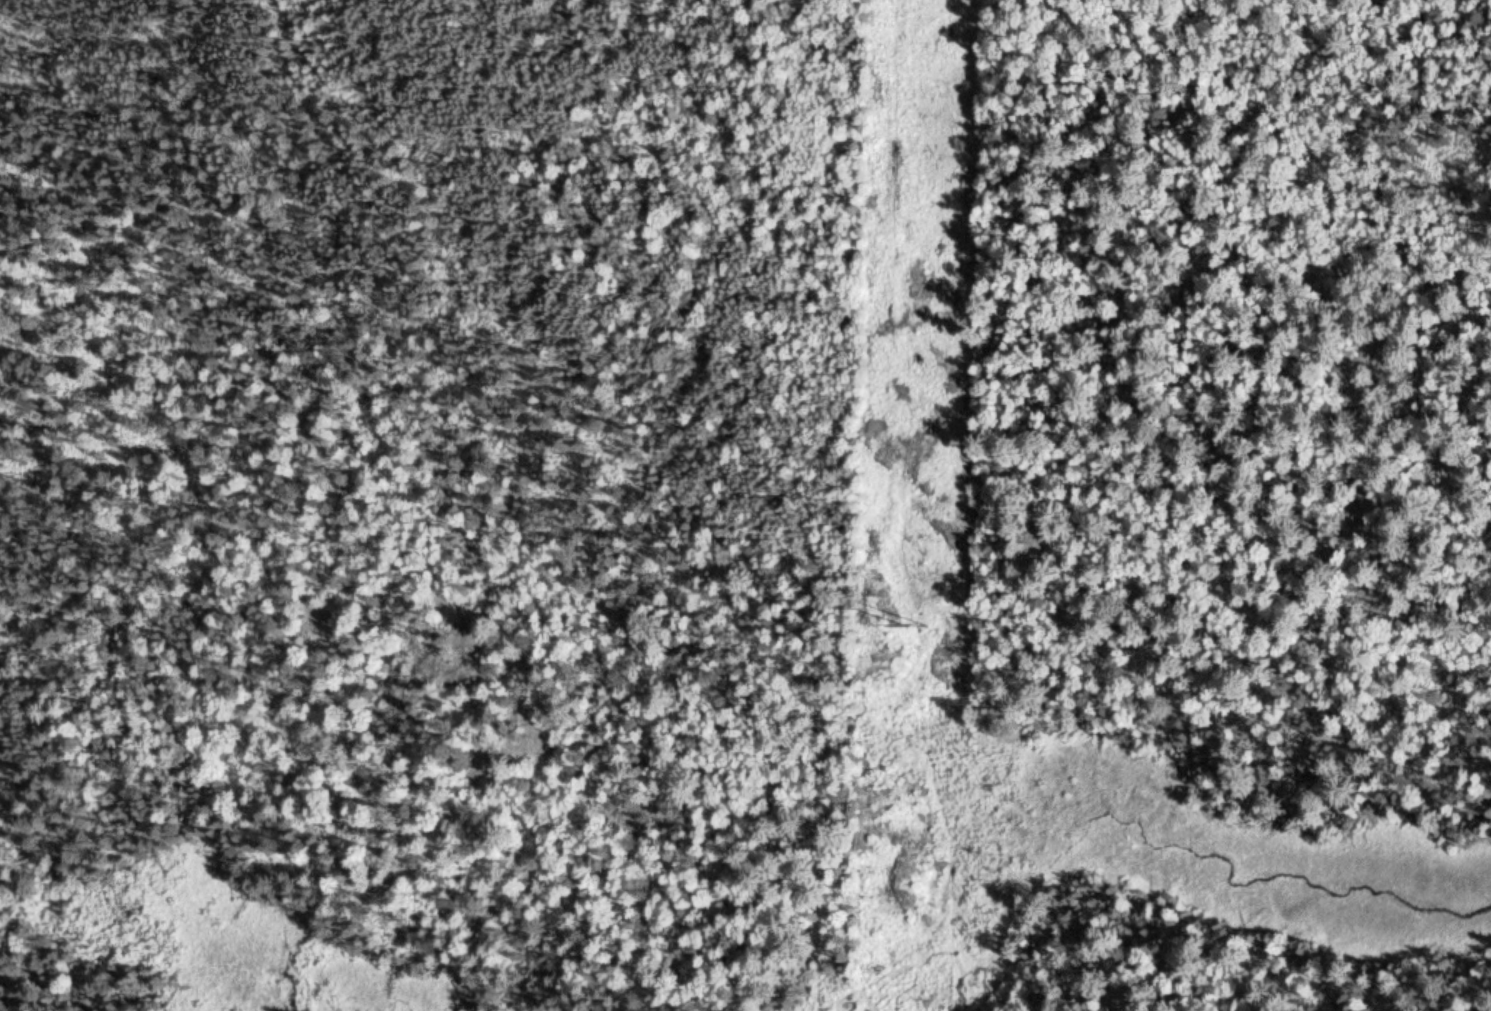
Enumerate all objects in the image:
power tower: (921, 624)

